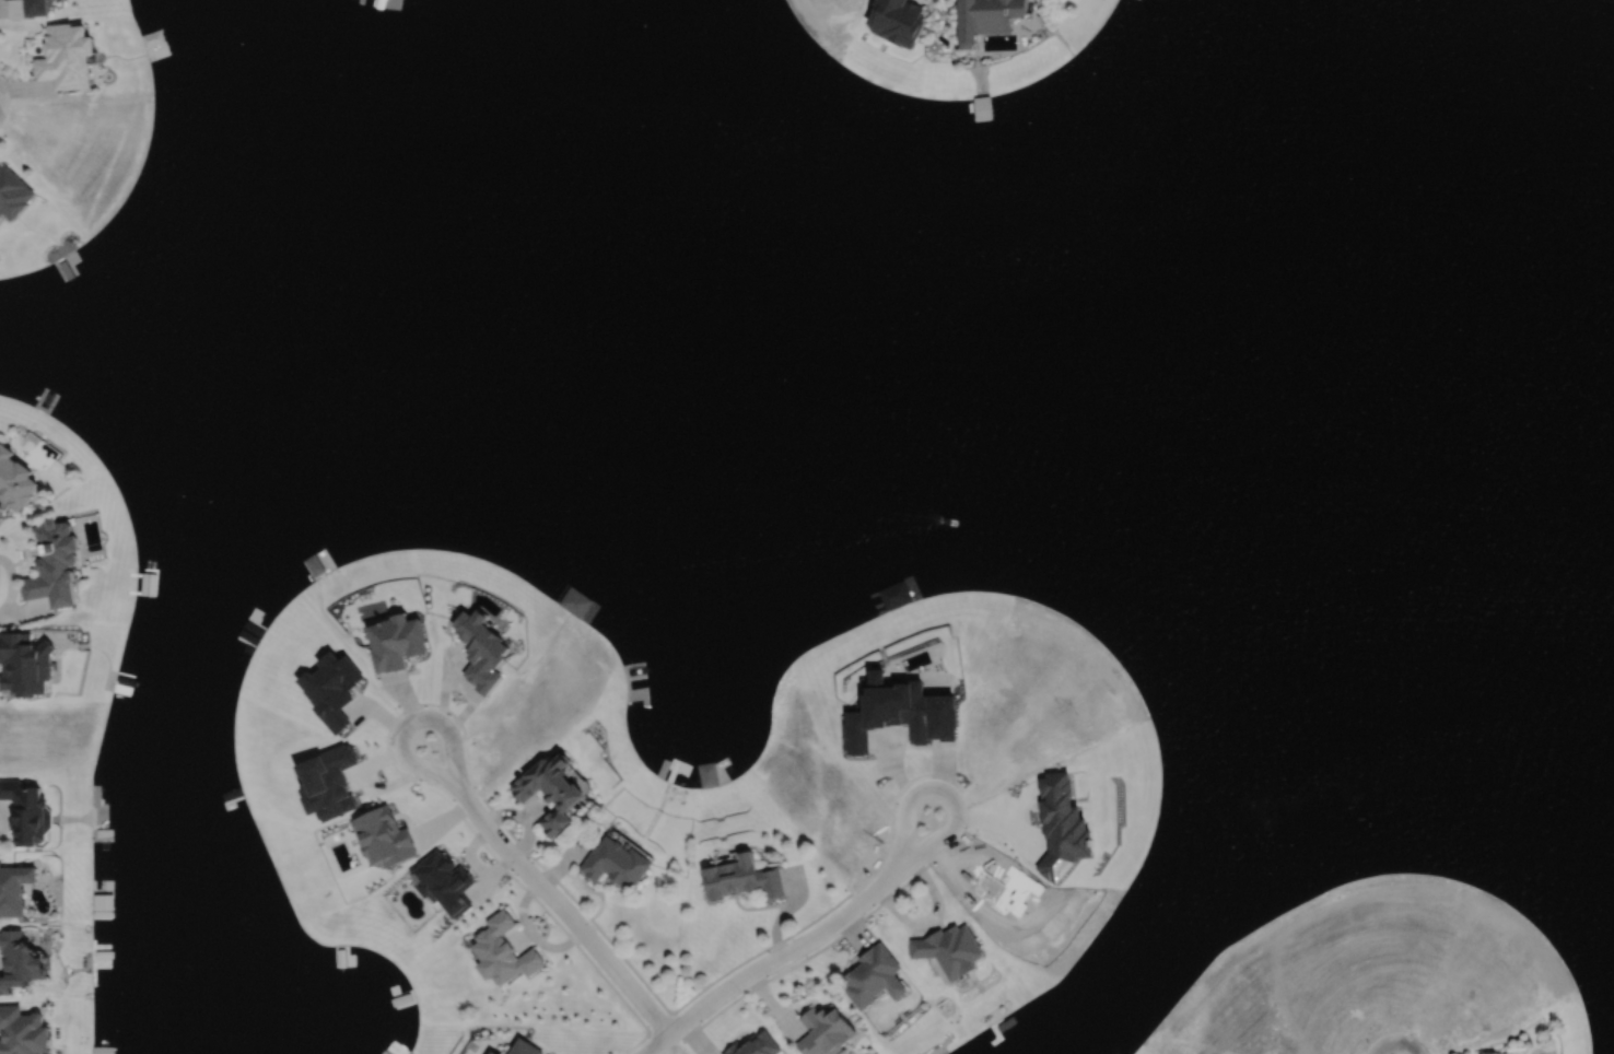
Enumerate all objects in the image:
building: (981, 17)
building: (70, 58)
building: (15, 195)
building: (12, 482)
building: (48, 563)
building: (547, 790)
building: (22, 813)
building: (611, 863)
building: (739, 879)
road: (540, 886)
building: (11, 888)
road: (815, 929)
building: (945, 949)
building: (15, 961)
building: (868, 977)
building: (20, 1032)
building: (819, 1032)
road: (656, 1041)
building: (752, 1045)
building: (1483, 1053)

